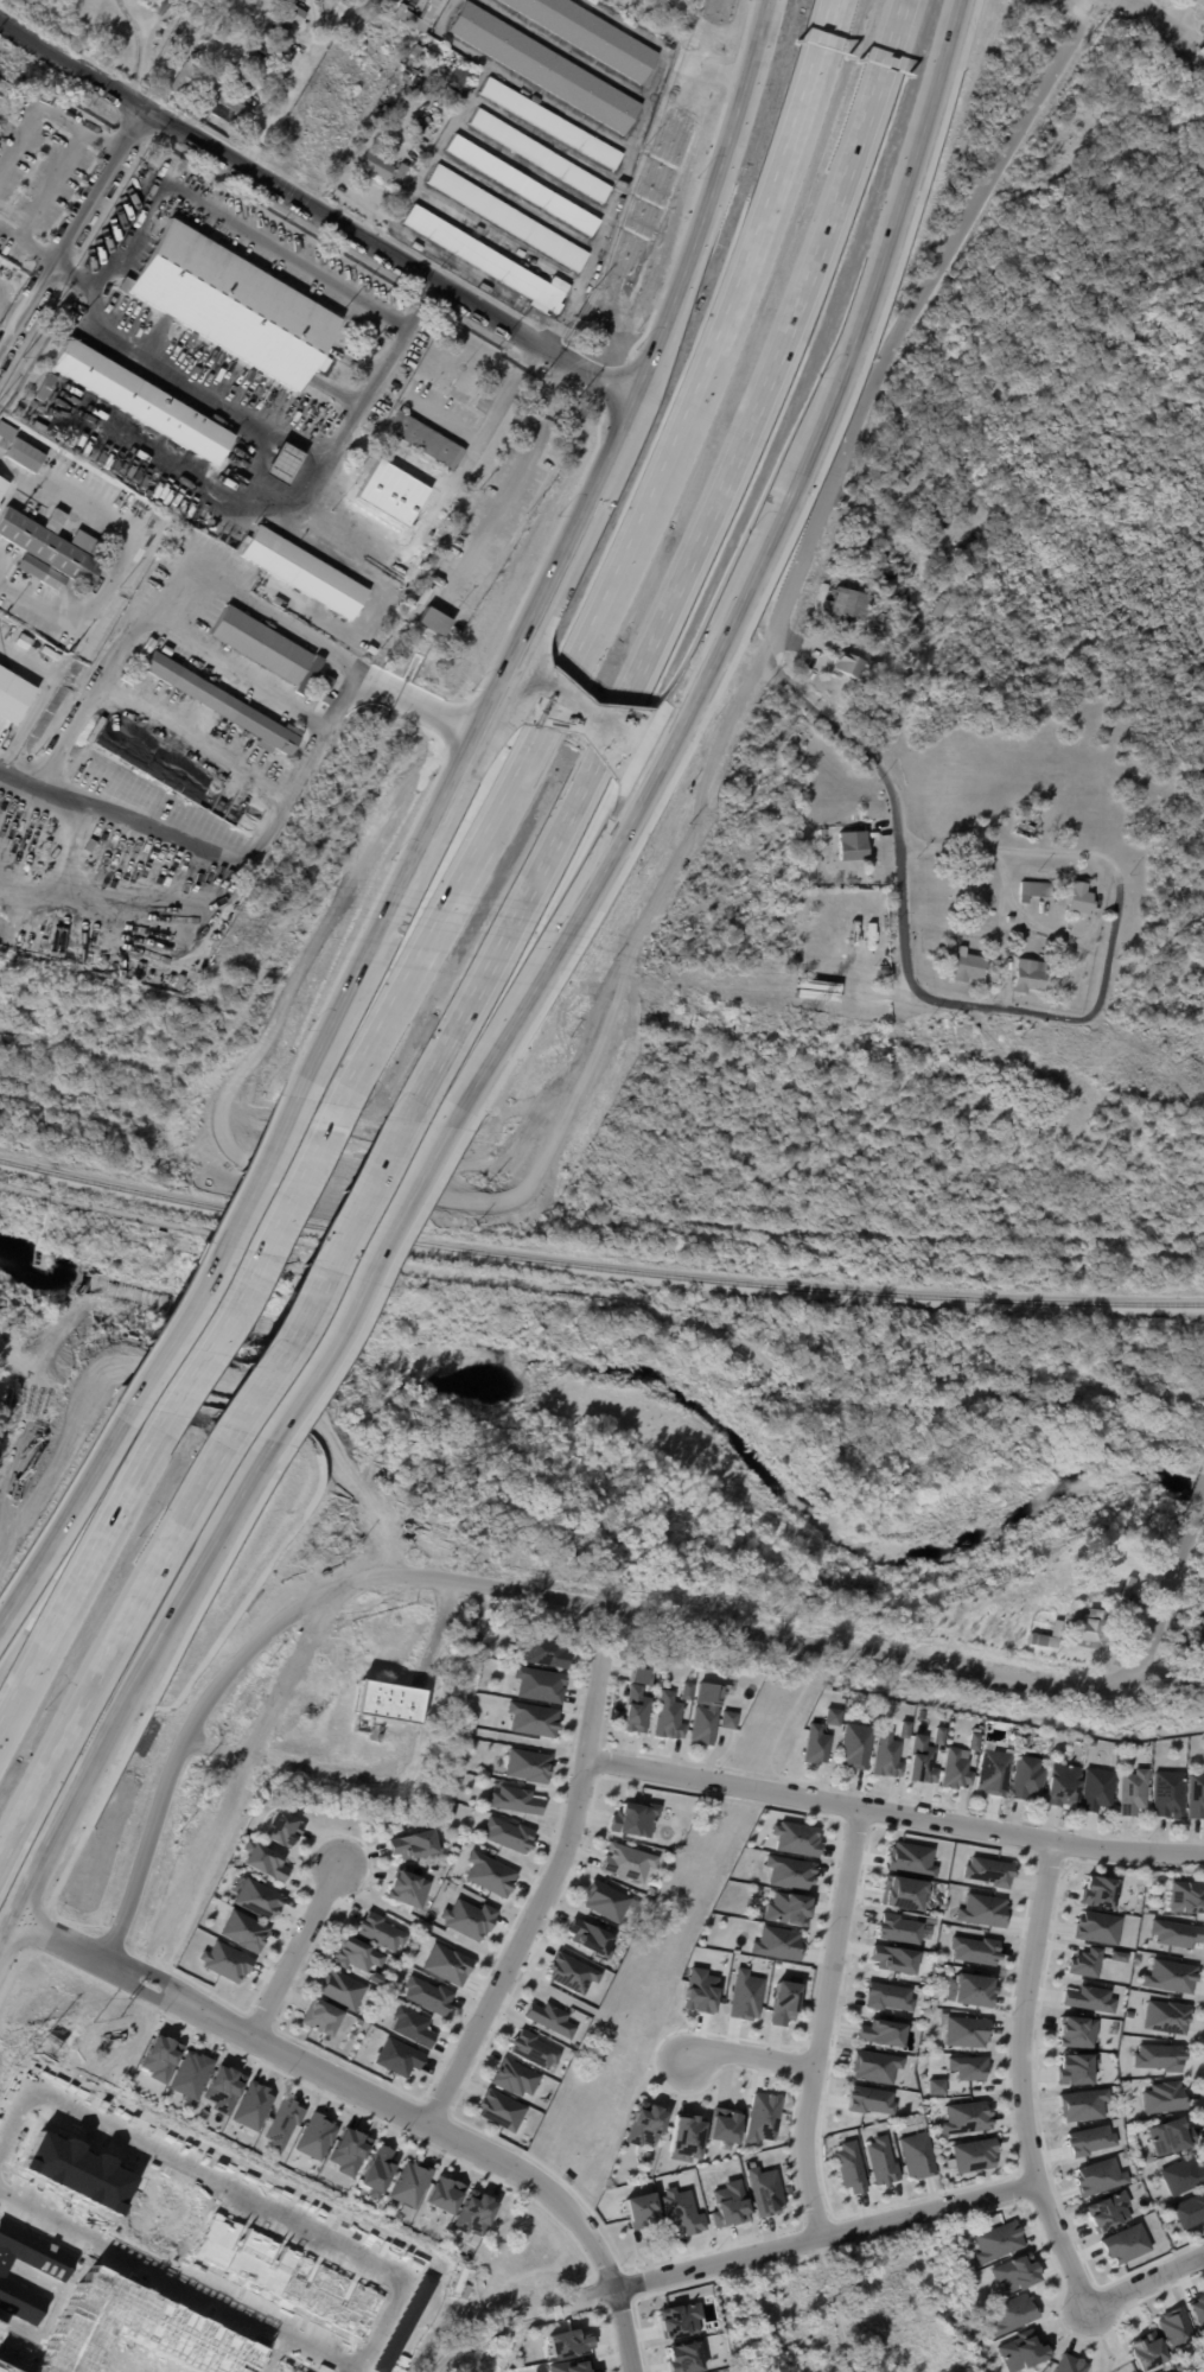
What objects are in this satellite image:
parking lot: (1191, 7)
road: (1171, 21)
building: (269, 33)
building: (591, 34)
road: (138, 47)
building: (420, 52)
building: (546, 69)
building: (458, 76)
building: (187, 77)
road: (46, 107)
building: (231, 109)
building: (552, 122)
building: (368, 131)
road: (633, 145)
building: (409, 150)
building: (542, 155)
building: (384, 166)
road: (415, 185)
building: (524, 185)
road: (318, 215)
building: (508, 218)
road: (69, 223)
road: (25, 241)
building: (488, 259)
road: (869, 282)
building: (234, 303)
road: (543, 333)
building: (56, 341)
road: (892, 341)
road: (384, 371)
building: (46, 387)
building: (140, 399)
building: (18, 411)
building: (12, 427)
building: (6, 431)
building: (423, 437)
building: (24, 456)
road: (469, 458)
building: (287, 464)
building: (349, 469)
building: (408, 471)
building: (898, 473)
building: (362, 475)
road: (516, 475)
building: (371, 482)
building: (2, 485)
building: (380, 489)
building: (390, 494)
building: (399, 498)
building: (935, 515)
building: (56, 520)
building: (962, 547)
building: (51, 549)
road: (574, 562)
road: (629, 570)
building: (304, 571)
building: (902, 573)
road: (693, 577)
road: (766, 583)
building: (943, 597)
building: (280, 602)
building: (841, 603)
building: (435, 621)
road: (728, 622)
building: (905, 624)
building: (93, 629)
building: (261, 643)
building: (148, 646)
road: (535, 650)
road: (348, 661)
building: (849, 666)
building: (307, 674)
building: (317, 676)
building: (13, 694)
road: (416, 699)
building: (221, 701)
road: (677, 704)
road: (588, 712)
road: (497, 718)
road: (573, 721)
road: (664, 752)
road: (15, 777)
road: (628, 789)
building: (1026, 819)
building: (853, 844)
building: (91, 846)
road: (1017, 850)
road: (597, 879)
building: (1033, 890)
building: (1078, 898)
building: (861, 899)
building: (846, 901)
building: (1008, 918)
road: (949, 924)
road: (1000, 926)
power tower: (243, 937)
road: (1072, 937)
building: (966, 967)
building: (1026, 977)
road: (911, 982)
power tower: (802, 1017)
road: (505, 1031)
power tower: (1199, 1073)
road: (101, 1207)
road: (204, 1235)
road: (214, 1248)
road: (254, 1258)
railway: (598, 1265)
road: (318, 1273)
road: (359, 1280)
road: (377, 1287)
road: (141, 1299)
road: (712, 1327)
building: (308, 1390)
road: (286, 1422)
road: (1200, 1494)
road: (58, 1499)
road: (64, 1514)
road: (84, 1572)
road: (1172, 1586)
building: (1128, 1609)
building: (1089, 1628)
road: (746, 1630)
road: (116, 1647)
building: (544, 1649)
building: (1077, 1651)
building: (639, 1675)
building: (539, 1683)
road: (133, 1686)
building: (688, 1690)
road: (148, 1702)
building: (390, 1702)
building: (849, 1702)
road: (791, 1709)
building: (873, 1709)
building: (639, 1710)
building: (671, 1716)
building: (830, 1716)
building: (533, 1717)
building: (731, 1719)
building: (706, 1725)
building: (903, 1730)
building: (937, 1735)
building: (1026, 1737)
building: (970, 1741)
road: (217, 1747)
building: (814, 1747)
building: (854, 1747)
building: (885, 1755)
road: (247, 1759)
road: (603, 1761)
building: (918, 1762)
building: (528, 1763)
road: (170, 1769)
building: (954, 1769)
building: (990, 1769)
road: (343, 1772)
building: (1023, 1775)
building: (1059, 1785)
building: (1094, 1787)
road: (854, 1791)
building: (1129, 1792)
building: (1166, 1795)
building: (1193, 1797)
building: (515, 1798)
building: (450, 1812)
road: (893, 1813)
building: (632, 1819)
road: (855, 1825)
building: (281, 1827)
building: (509, 1833)
building: (796, 1837)
building: (412, 1844)
building: (911, 1857)
road: (1049, 1858)
building: (265, 1861)
building: (626, 1861)
building: (989, 1869)
building: (790, 1870)
building: (490, 1872)
building: (406, 1888)
building: (1094, 1889)
building: (902, 1891)
road: (544, 1893)
building: (1183, 1896)
building: (257, 1897)
building: (605, 1899)
building: (789, 1907)
building: (983, 1908)
building: (466, 1918)
building: (1095, 1925)
building: (898, 1927)
road: (37, 1928)
building: (243, 1928)
building: (1173, 1931)
building: (380, 1932)
road: (116, 1933)
building: (591, 1935)
road: (56, 1937)
building: (778, 1941)
road: (298, 1946)
building: (975, 1947)
building: (1115, 1953)
building: (357, 1954)
building: (894, 1957)
building: (225, 1960)
building: (1084, 1961)
building: (447, 1963)
road: (155, 1973)
building: (575, 1973)
building: (1171, 1974)
building: (378, 1979)
building: (968, 1989)
building: (343, 1990)
building: (700, 1990)
road: (146, 1992)
building: (427, 1993)
building: (746, 1993)
building: (888, 1995)
building: (1087, 1997)
building: (784, 2001)
road: (263, 2014)
building: (1164, 2015)
building: (324, 2017)
building: (553, 2018)
road: (822, 2021)
building: (412, 2024)
building: (967, 2029)
building: (881, 2030)
building: (1075, 2030)
road: (295, 2037)
road: (820, 2037)
building: (536, 2049)
building: (397, 2055)
road: (750, 2055)
building: (160, 2056)
building: (1157, 2056)
road: (792, 2062)
building: (875, 2063)
road: (1036, 2065)
building: (967, 2066)
road: (1202, 2066)
building: (1069, 2067)
building: (190, 2073)
building: (517, 2078)
road: (1021, 2078)
road: (305, 2084)
building: (936, 2085)
building: (223, 2087)
building: (1161, 2097)
building: (869, 2099)
building: (1079, 2103)
building: (253, 2104)
building: (503, 2110)
building: (763, 2116)
building: (964, 2117)
building: (282, 2122)
building: (645, 2123)
building: (726, 2126)
building: (316, 2135)
building: (1168, 2135)
building: (686, 2136)
building: (1089, 2138)
road: (467, 2142)
road: (790, 2149)
building: (349, 2150)
building: (917, 2154)
building: (974, 2154)
building: (879, 2160)
building: (848, 2166)
building: (376, 2170)
building: (1097, 2175)
building: (1180, 2176)
building: (410, 2182)
road: (961, 2186)
road: (1017, 2188)
road: (238, 2189)
building: (765, 2189)
building: (442, 2194)
building: (727, 2204)
building: (639, 2209)
building: (679, 2211)
building: (1106, 2211)
building: (474, 2212)
building: (1189, 2212)
road: (815, 2213)
building: (996, 2240)
building: (1123, 2243)
road: (739, 2256)
building: (1013, 2271)
road: (178, 2279)
road: (1146, 2281)
road: (638, 2282)
road: (587, 2292)
road: (639, 2297)
road: (837, 2303)
building: (1012, 2311)
building: (1197, 2311)
road: (1058, 2313)
building: (680, 2317)
building: (1174, 2327)
road: (610, 2333)
building: (569, 2340)
building: (1020, 2349)
building: (1145, 2351)
road: (1107, 2353)
building: (684, 2357)
road: (442, 2363)
building: (1069, 2364)
building: (573, 2365)
road: (355, 2371)

